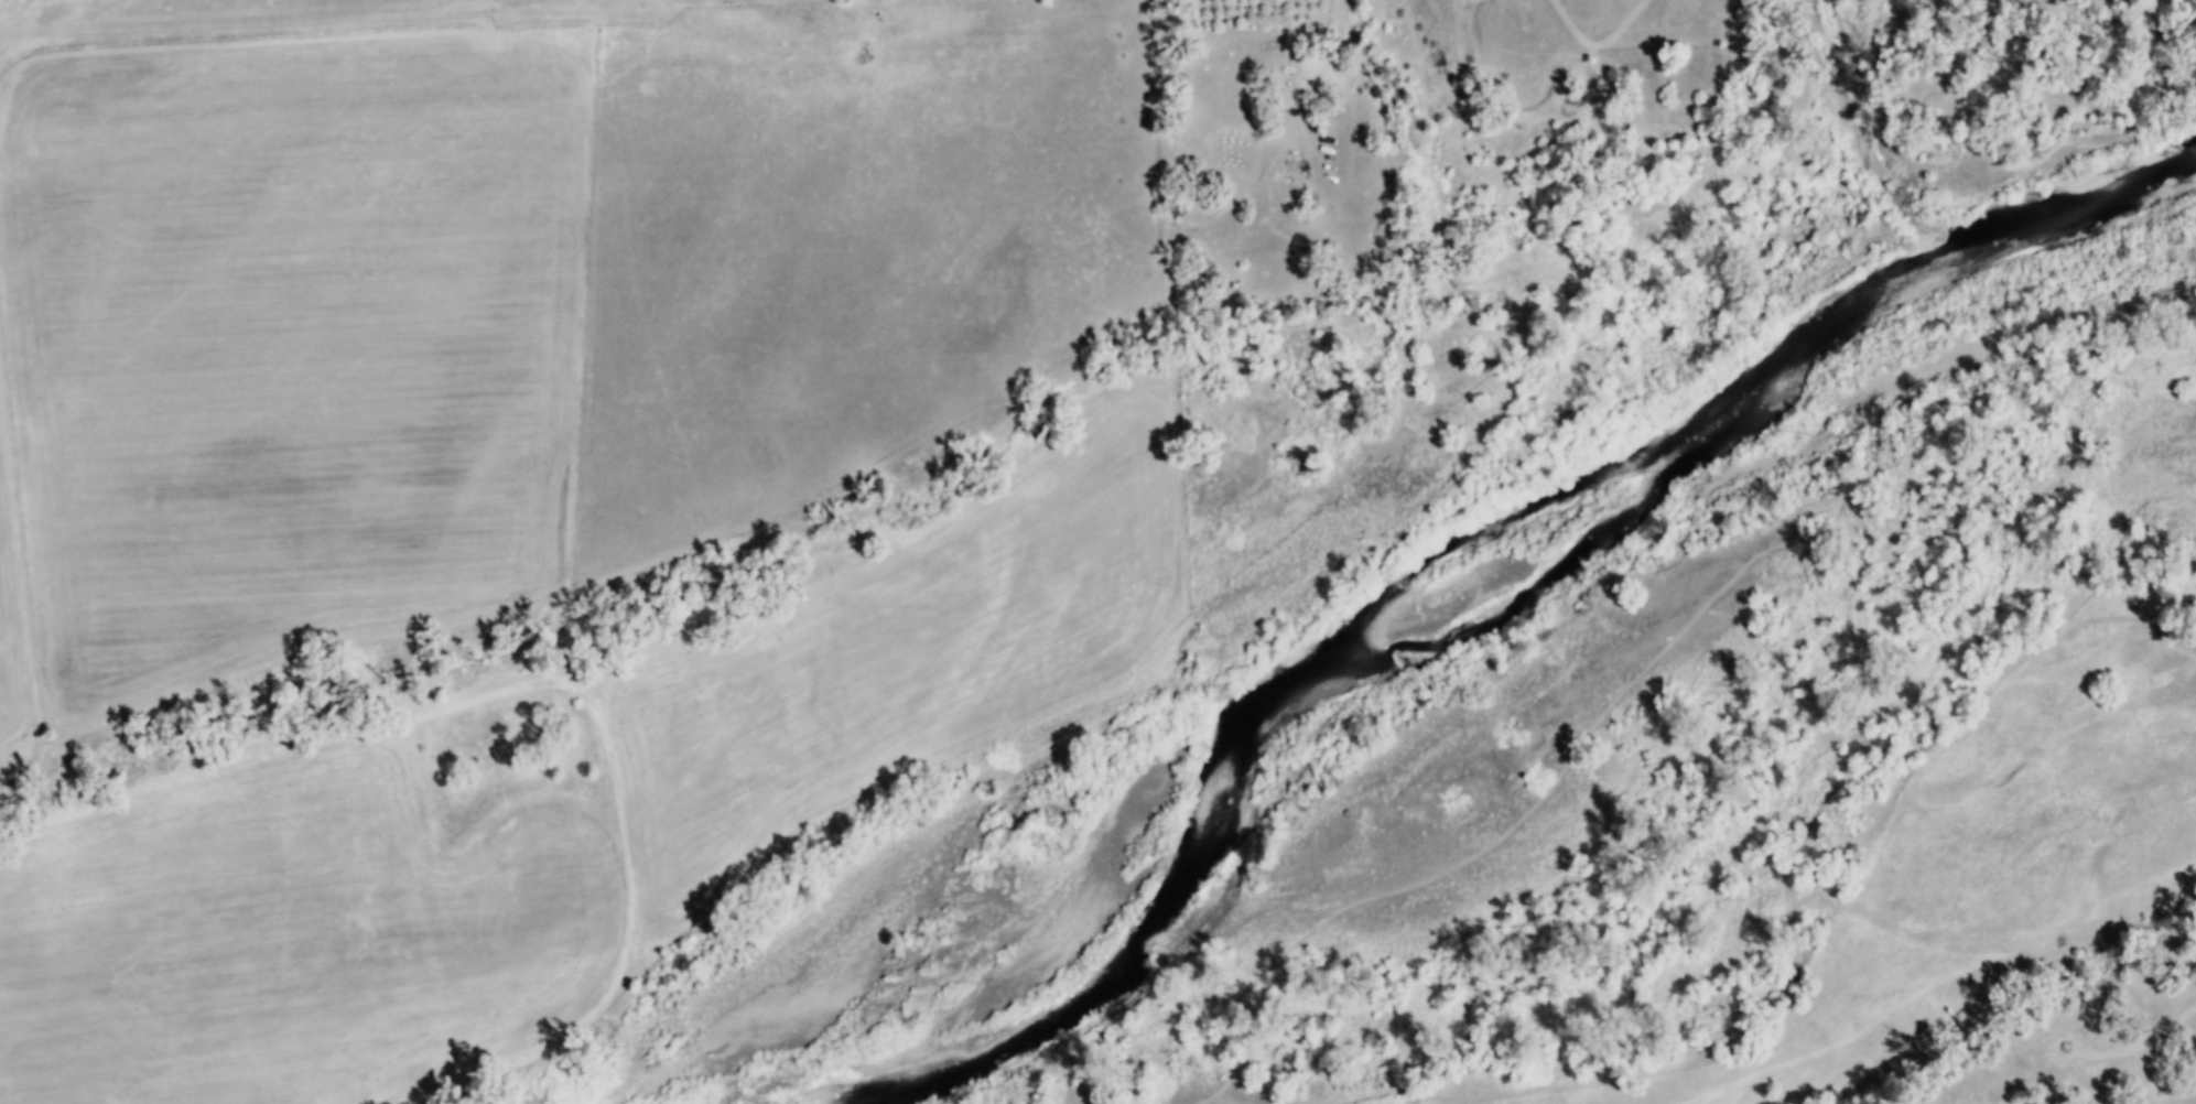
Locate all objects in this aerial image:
river: (1863, 138)
river: (2071, 212)
river: (1810, 327)
road: (18, 581)
river: (1337, 671)
river: (961, 1064)

